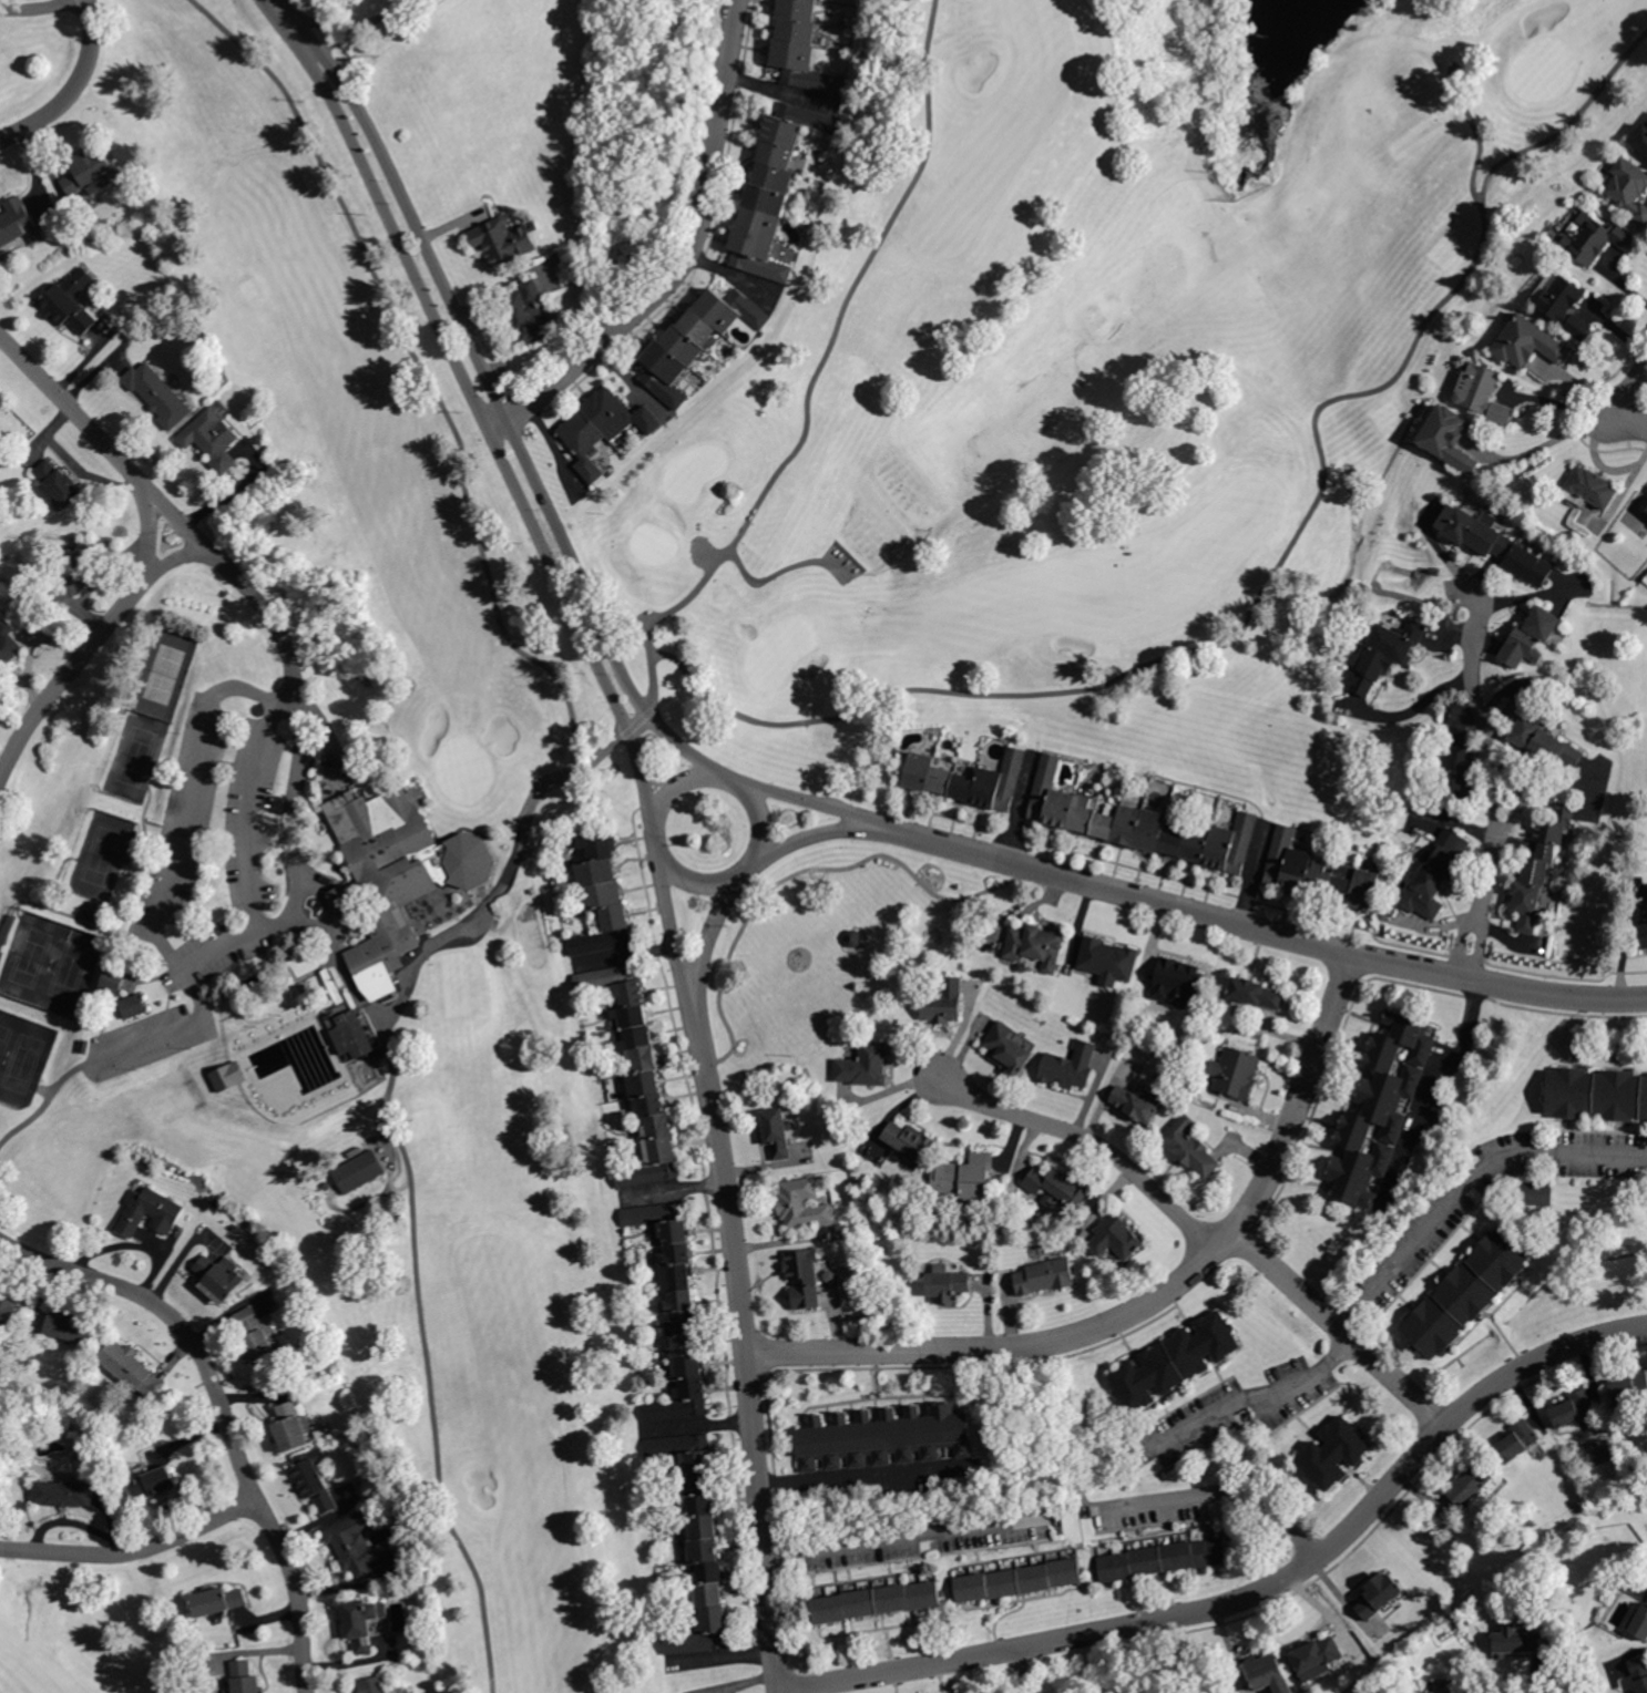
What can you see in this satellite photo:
road: (39, 8)
building: (800, 9)
road: (366, 21)
building: (799, 31)
road: (317, 55)
road: (1454, 63)
building: (806, 68)
road: (75, 89)
building: (797, 124)
building: (1640, 140)
building: (777, 155)
road: (1513, 156)
building: (92, 172)
building: (775, 178)
building: (1629, 187)
building: (767, 199)
road: (409, 211)
road: (391, 216)
building: (760, 222)
building: (20, 224)
building: (1597, 239)
building: (505, 242)
building: (758, 255)
road: (686, 256)
road: (853, 284)
building: (1565, 306)
building: (68, 307)
building: (732, 310)
building: (529, 314)
building: (698, 326)
building: (1528, 343)
building: (684, 345)
road: (422, 368)
building: (666, 373)
building: (158, 393)
building: (1484, 393)
road: (1617, 397)
road: (1556, 398)
building: (620, 414)
road: (1546, 435)
building: (213, 439)
building: (1450, 439)
building: (585, 443)
building: (59, 482)
building: (1592, 488)
building: (1646, 507)
road: (539, 531)
road: (143, 536)
building: (1494, 543)
road: (191, 556)
building: (75, 574)
road: (671, 610)
road: (597, 613)
building: (1532, 636)
building: (1399, 640)
building: (10, 647)
road: (1191, 653)
building: (1372, 670)
road: (614, 700)
road: (301, 710)
road: (1416, 710)
building: (1523, 726)
park: (718, 750)
building: (1556, 750)
building: (1461, 751)
road: (1495, 767)
building: (921, 770)
road: (717, 773)
road: (697, 776)
road: (736, 779)
building: (943, 780)
building: (1001, 781)
building: (965, 787)
building: (1046, 787)
building: (1455, 791)
road: (665, 799)
road: (811, 802)
road: (651, 808)
building: (1062, 808)
road: (244, 814)
building: (1084, 814)
building: (1107, 822)
building: (1128, 823)
building: (1153, 829)
building: (1553, 831)
road: (816, 835)
building: (1174, 837)
road: (657, 839)
building: (1197, 843)
building: (600, 844)
building: (1232, 844)
building: (1446, 854)
road: (1000, 859)
building: (1289, 862)
road: (174, 865)
building: (596, 871)
building: (1535, 871)
road: (745, 873)
building: (398, 874)
building: (1319, 876)
building: (1341, 883)
building: (1424, 886)
building: (1364, 889)
building: (603, 894)
building: (1526, 904)
building: (93, 916)
road: (325, 925)
road: (675, 928)
building: (1644, 928)
building: (606, 932)
road: (710, 936)
building: (855, 940)
building: (1037, 945)
road: (1382, 958)
building: (1109, 962)
building: (1179, 979)
building: (114, 982)
building: (616, 984)
building: (1256, 993)
building: (945, 1002)
building: (134, 1007)
building: (631, 1018)
road: (181, 1026)
building: (360, 1034)
building: (635, 1038)
building: (1009, 1048)
building: (644, 1059)
building: (866, 1065)
building: (1071, 1066)
building: (236, 1068)
building: (1237, 1071)
road: (1429, 1078)
building: (645, 1085)
building: (1597, 1094)
building: (1138, 1101)
building: (652, 1106)
building: (1380, 1108)
building: (658, 1128)
building: (779, 1132)
building: (910, 1142)
building: (1191, 1148)
building: (652, 1166)
building: (360, 1171)
building: (965, 1180)
road: (1464, 1182)
building: (328, 1186)
building: (1057, 1189)
road: (728, 1190)
road: (409, 1192)
building: (1538, 1198)
building: (804, 1205)
building: (152, 1212)
building: (662, 1221)
road: (1205, 1233)
building: (1117, 1237)
building: (678, 1255)
building: (805, 1276)
building: (1046, 1276)
building: (222, 1278)
building: (677, 1279)
building: (949, 1285)
building: (0, 1292)
building: (1466, 1292)
road: (1152, 1301)
building: (681, 1302)
building: (8, 1312)
building: (684, 1324)
building: (75, 1326)
building: (258, 1337)
building: (684, 1345)
building: (1176, 1359)
building: (133, 1367)
building: (688, 1367)
road: (1522, 1368)
building: (1630, 1388)
road: (1261, 1396)
building: (681, 1403)
road: (225, 1409)
building: (1576, 1412)
building: (293, 1427)
building: (886, 1437)
building: (1518, 1439)
building: (684, 1450)
building: (1336, 1451)
road: (865, 1476)
building: (317, 1479)
building: (156, 1481)
building: (1471, 1482)
building: (700, 1484)
road: (1224, 1489)
building: (68, 1492)
building: (700, 1507)
road: (764, 1527)
building: (704, 1528)
road: (904, 1533)
building: (355, 1543)
road: (135, 1550)
building: (704, 1551)
building: (1164, 1558)
building: (709, 1573)
building: (1020, 1579)
building: (842, 1588)
building: (1380, 1593)
building: (709, 1595)
building: (219, 1600)
building: (878, 1600)
building: (1639, 1621)
building: (364, 1623)
road: (1126, 1627)
building: (703, 1634)
building: (1520, 1642)
building: (1319, 1652)
road: (1115, 1660)
building: (1265, 1672)
building: (1640, 1672)
building: (246, 1677)
road: (1537, 1679)
road: (780, 1684)
building: (374, 1685)
road: (781, 1691)

